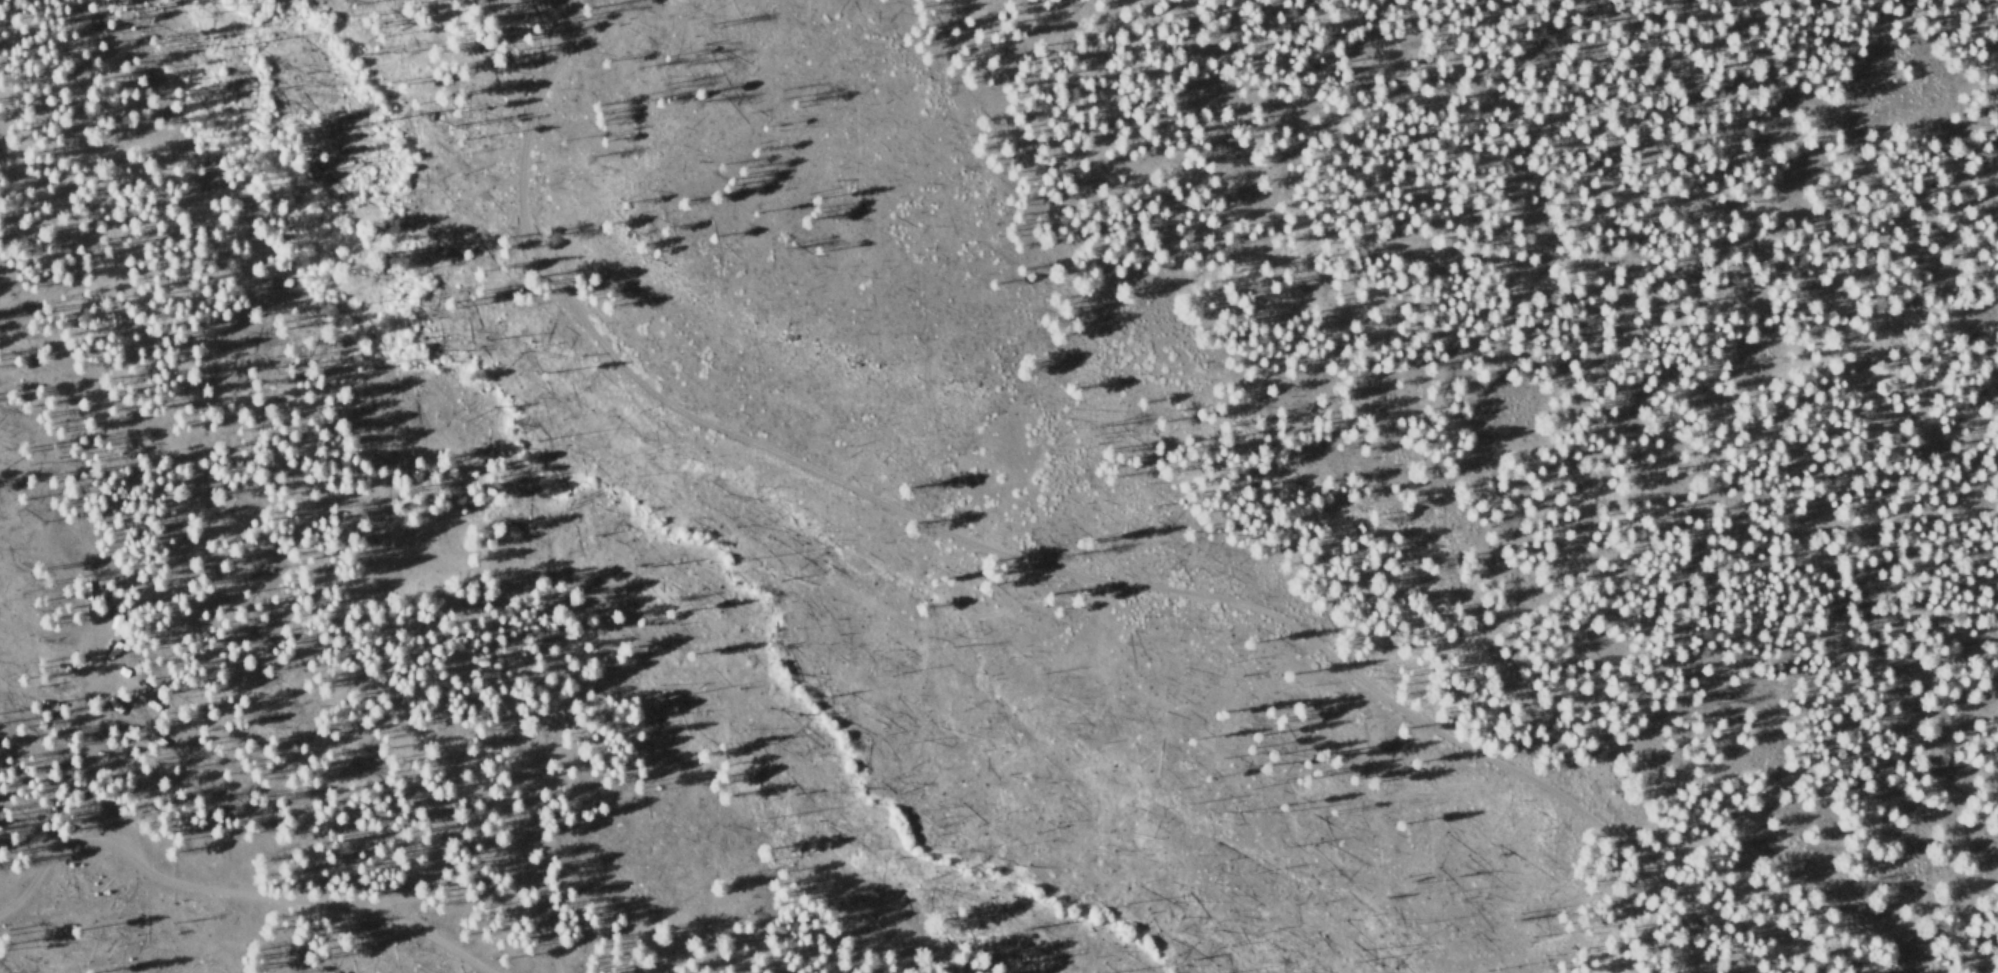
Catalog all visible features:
road: (1068, 573)
road: (231, 901)

